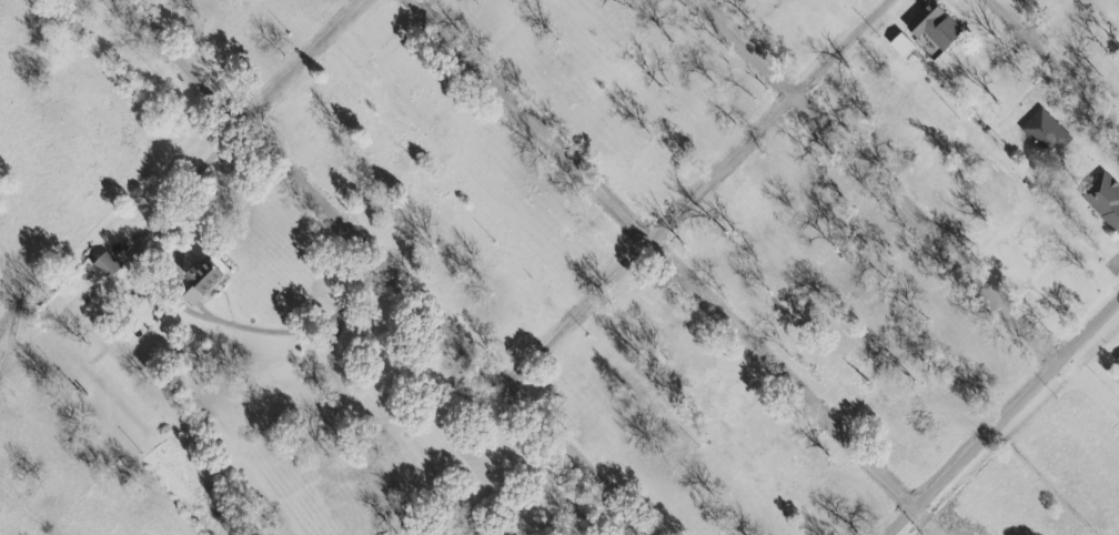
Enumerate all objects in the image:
building: (934, 26)
road: (301, 60)
road: (1055, 64)
road: (189, 181)
road: (879, 181)
road: (699, 193)
building: (1103, 198)
park: (91, 200)
road: (656, 256)
building: (104, 265)
road: (384, 266)
building: (202, 277)
road: (265, 329)
building: (1117, 360)
road: (1004, 418)

